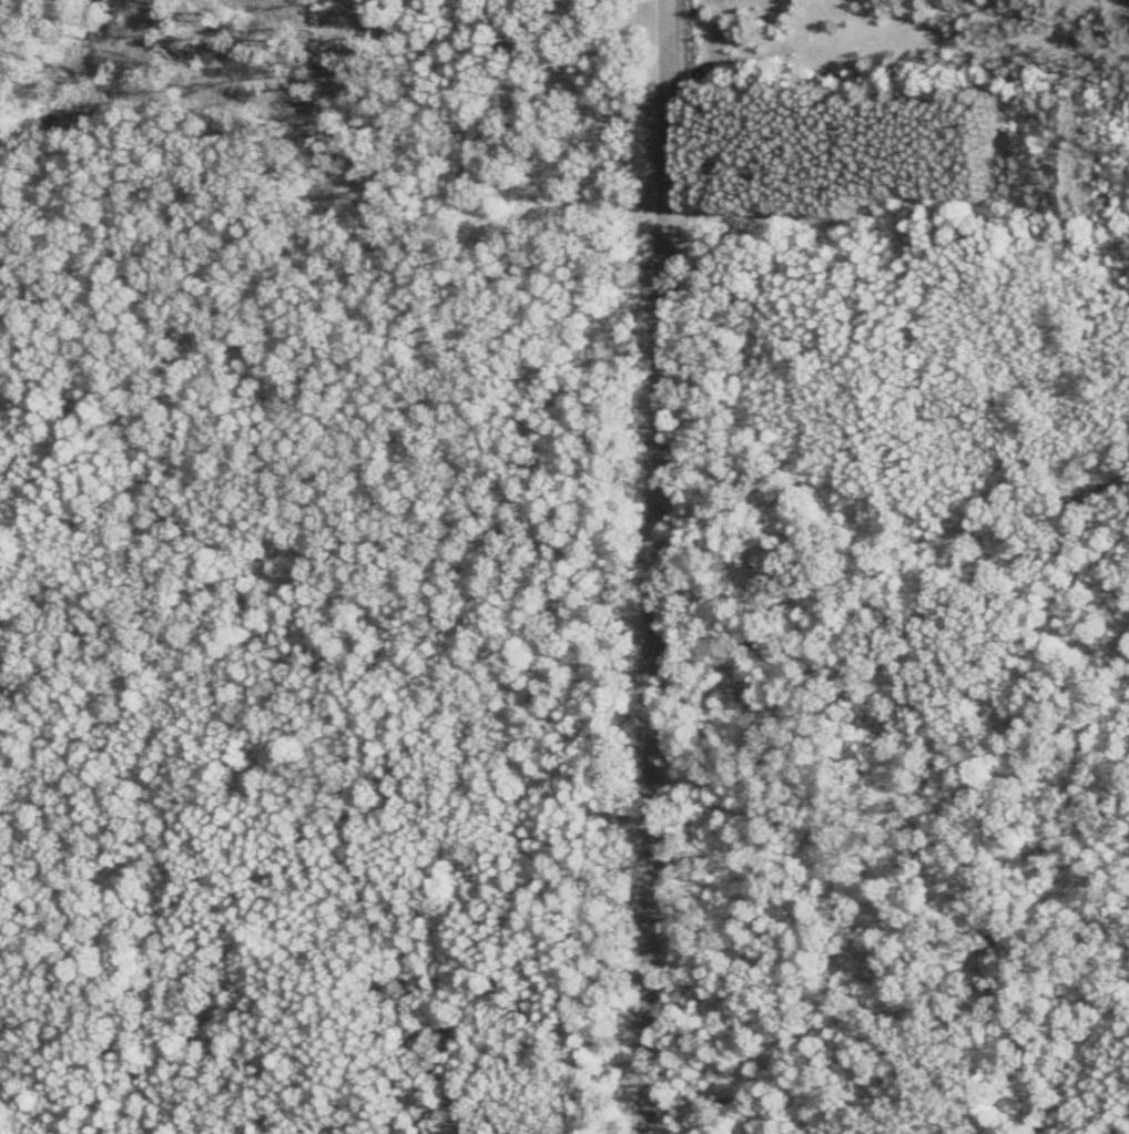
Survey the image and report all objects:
road: (645, 566)

